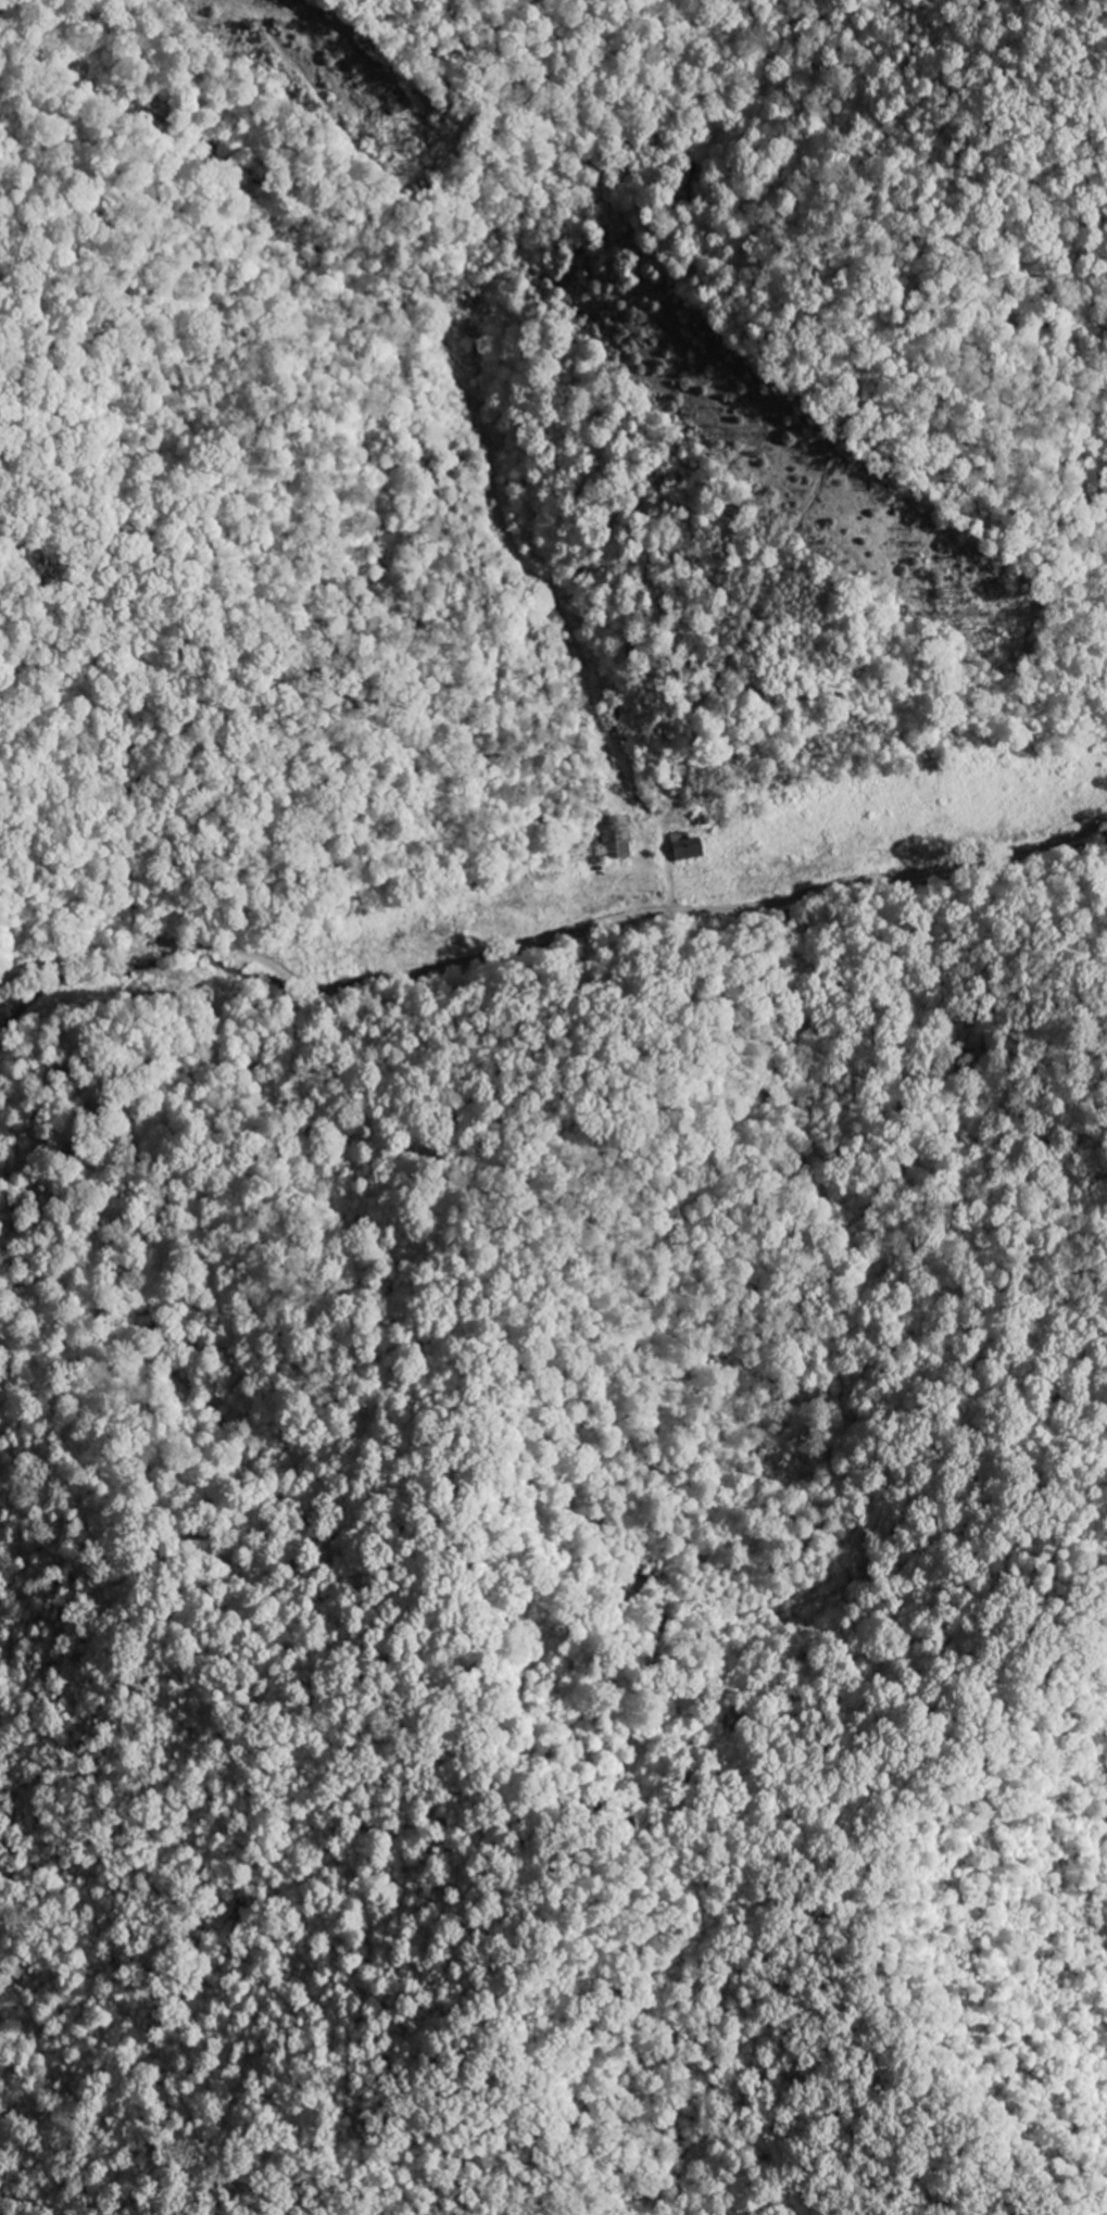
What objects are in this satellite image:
power tower: (760, 437)
building: (619, 838)
building: (693, 848)
road: (550, 935)

